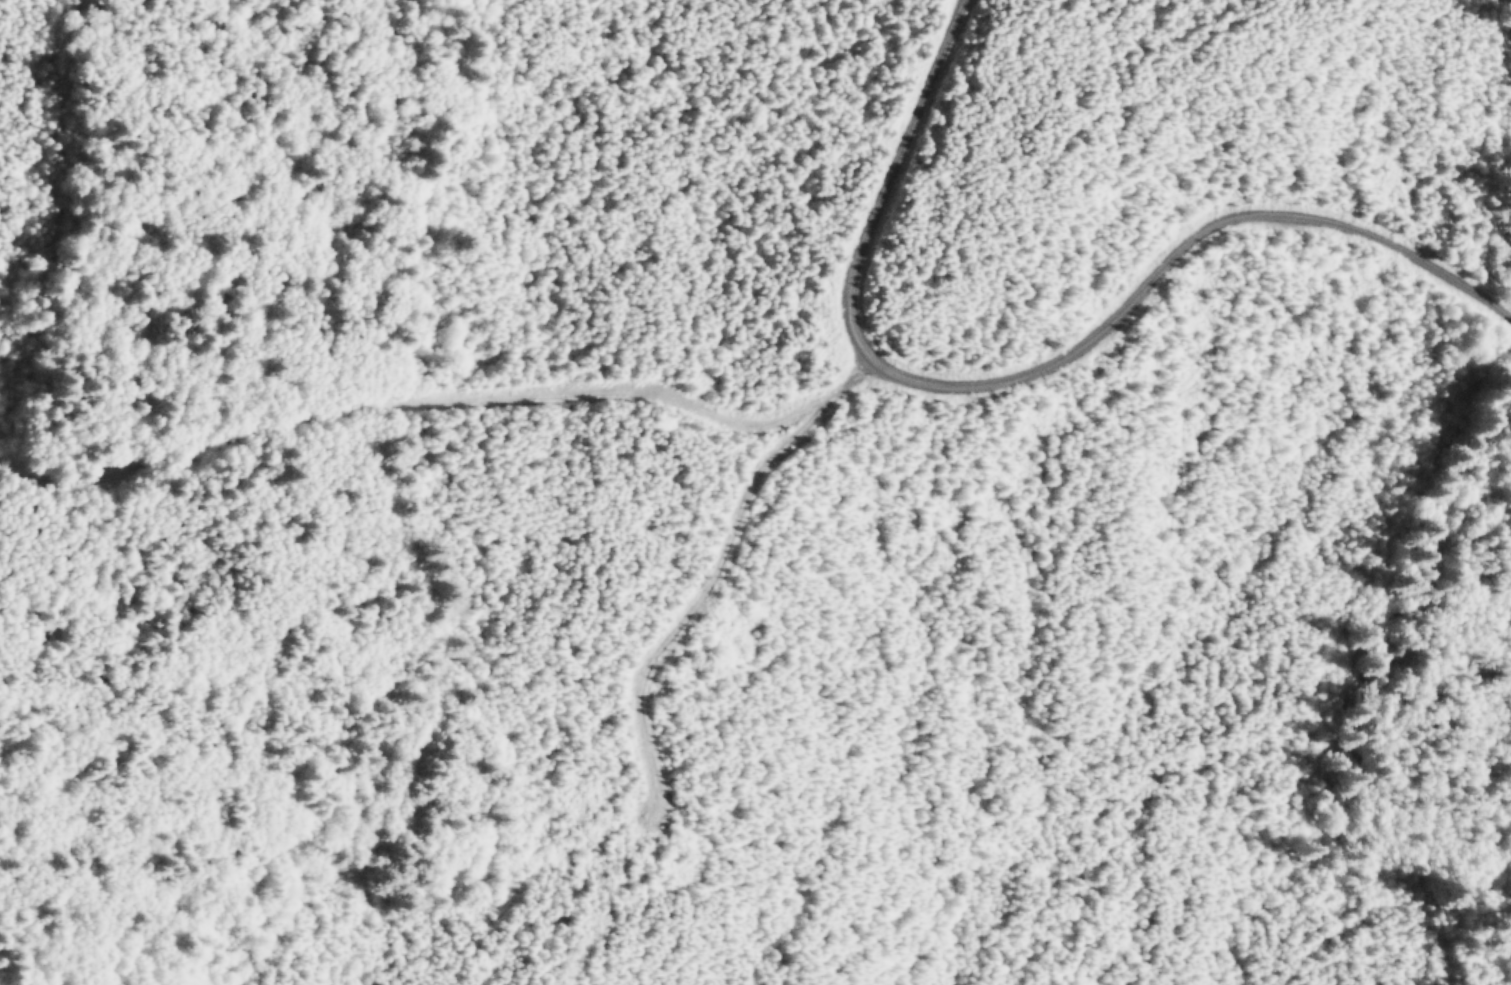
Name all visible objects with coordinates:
road: (1034, 372)
road: (440, 406)
road: (649, 662)

